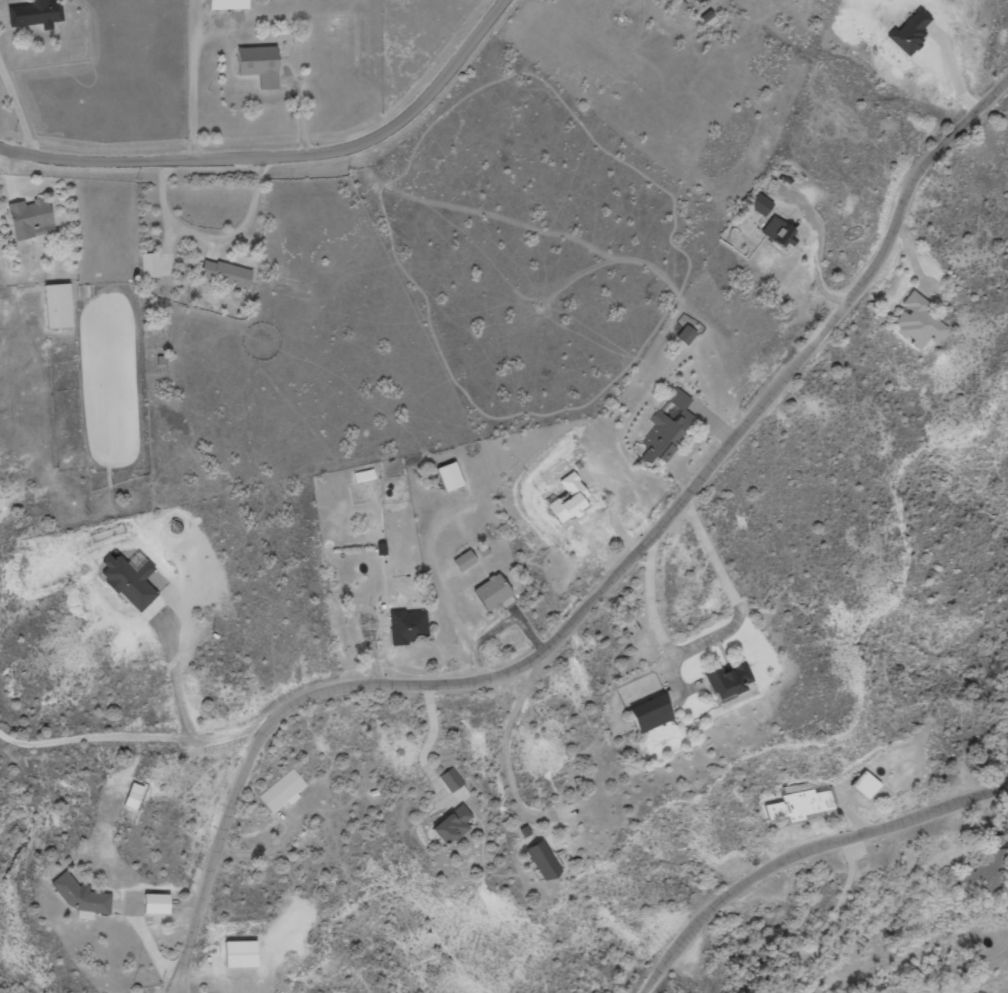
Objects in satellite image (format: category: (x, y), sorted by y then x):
building: (229, 4)
building: (37, 13)
building: (709, 19)
building: (912, 31)
building: (262, 65)
road: (281, 152)
building: (762, 204)
building: (30, 217)
building: (780, 231)
building: (152, 265)
building: (227, 273)
building: (60, 305)
building: (919, 322)
building: (687, 334)
building: (667, 428)
building: (364, 475)
building: (451, 476)
building: (571, 499)
building: (466, 560)
building: (131, 581)
building: (494, 591)
road: (610, 602)
building: (410, 626)
building: (731, 680)
building: (654, 712)
road: (132, 759)
building: (451, 780)
building: (868, 784)
building: (282, 790)
building: (135, 796)
building: (800, 805)
building: (455, 825)
road: (812, 858)
building: (544, 860)
building: (981, 870)
building: (83, 897)
building: (158, 903)
road: (815, 927)
building: (243, 953)
river: (973, 989)

